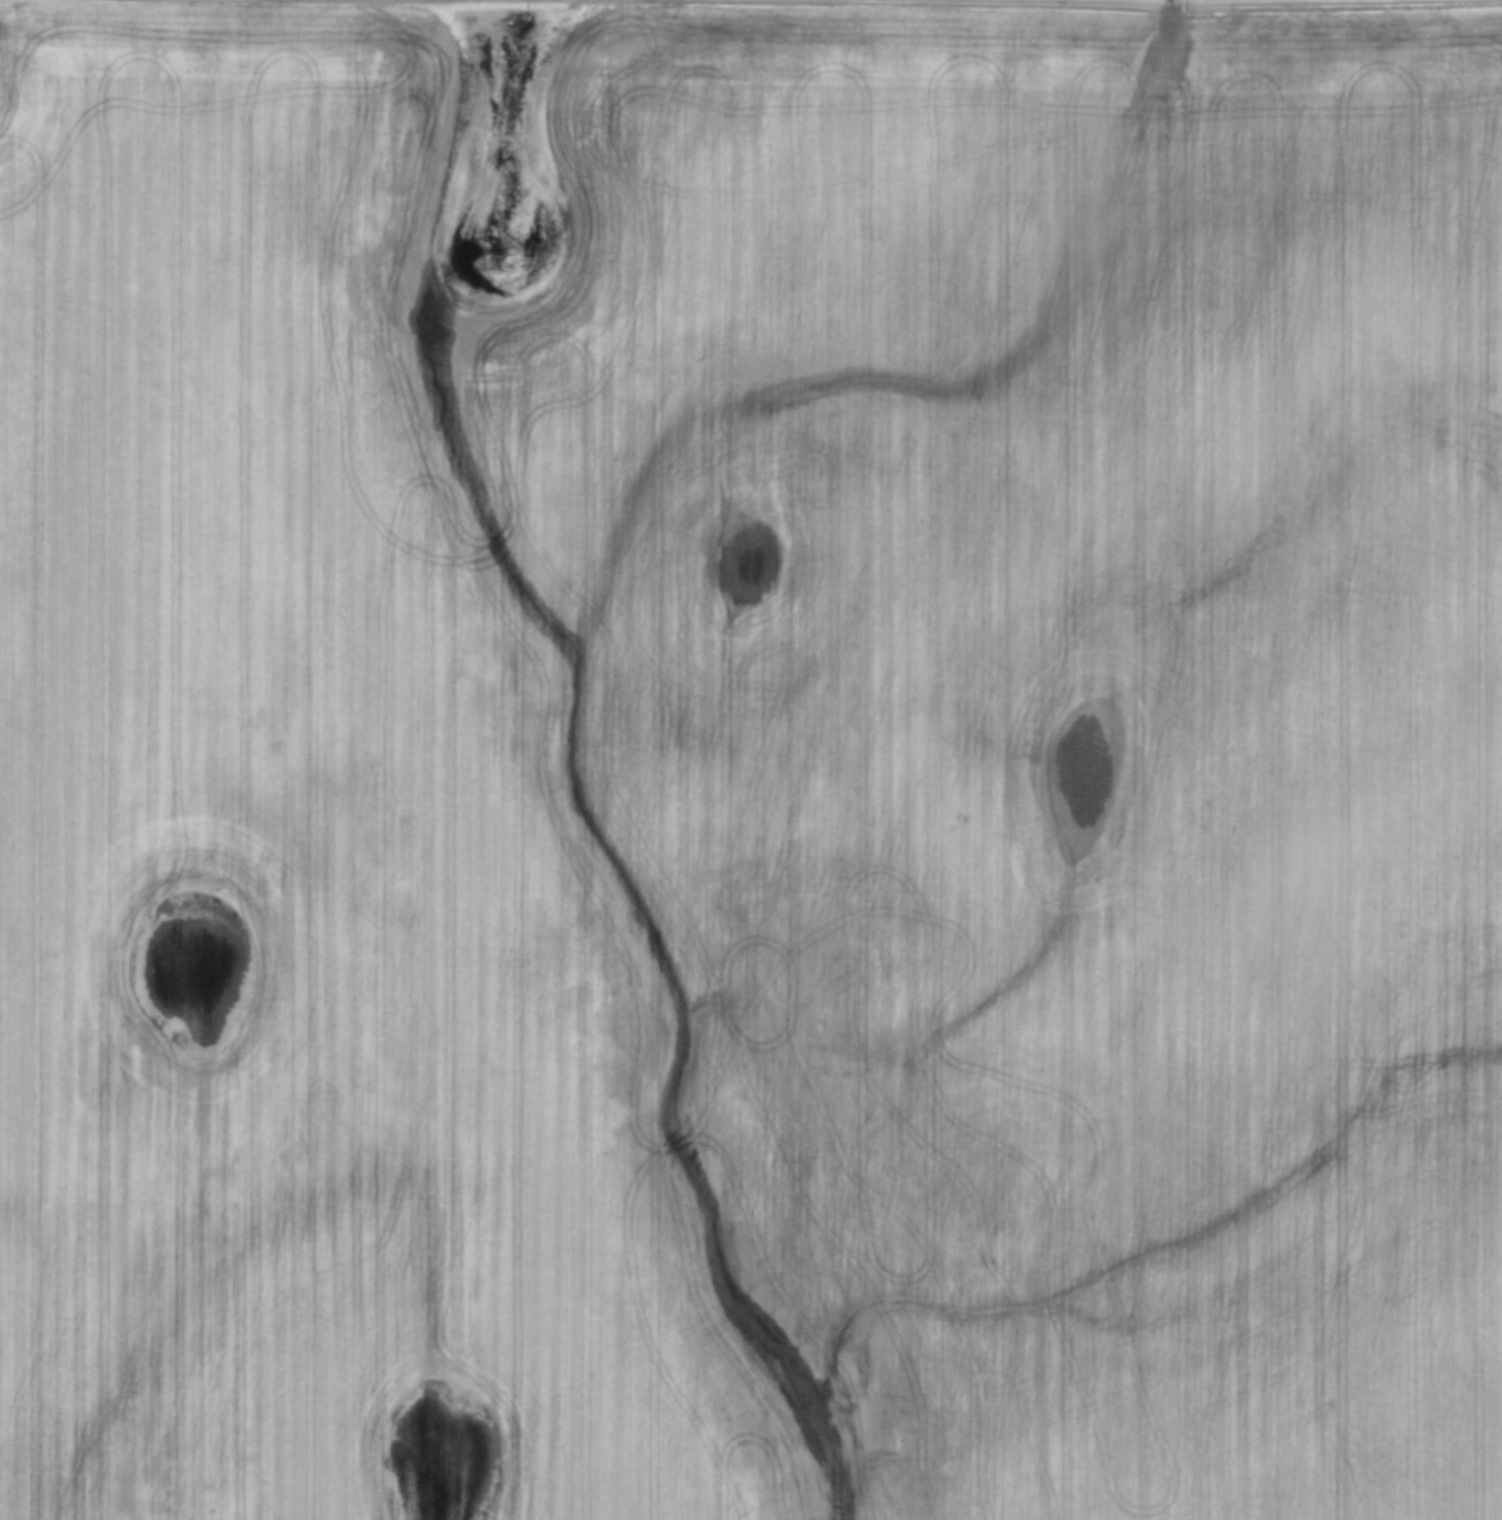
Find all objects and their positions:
road: (265, 0)
road: (1163, 1)

